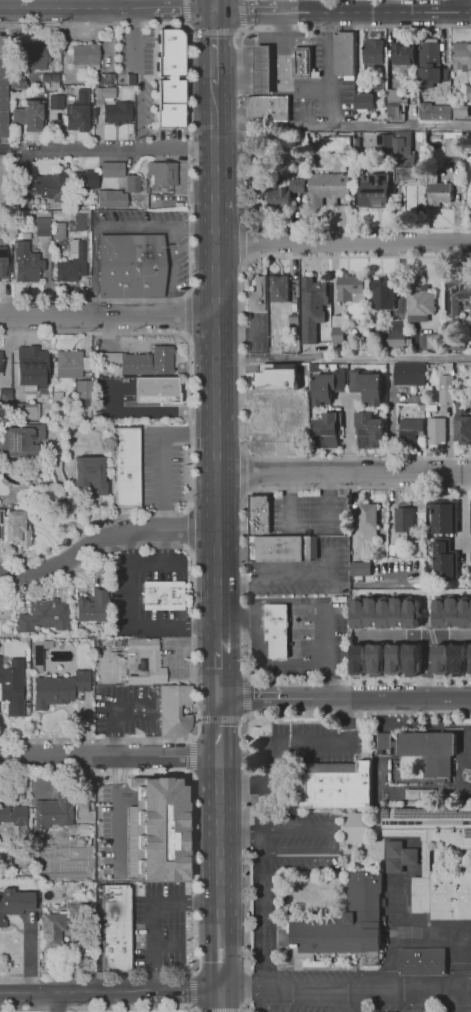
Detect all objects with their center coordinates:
road: (39, 4)
road: (106, 5)
road: (213, 5)
road: (306, 5)
road: (389, 6)
road: (106, 10)
road: (185, 11)
traffic signals: (213, 11)
road: (342, 11)
road: (242, 12)
road: (212, 30)
road: (134, 42)
road: (213, 47)
road: (247, 49)
building: (373, 51)
building: (170, 52)
building: (430, 53)
building: (341, 54)
building: (37, 57)
building: (85, 57)
building: (462, 57)
building: (403, 58)
building: (300, 62)
road: (327, 62)
road: (281, 69)
building: (259, 70)
gas station: (259, 70)
building: (107, 78)
building: (428, 78)
building: (16, 83)
road: (239, 83)
building: (469, 91)
building: (107, 92)
building: (2, 100)
building: (55, 100)
building: (365, 101)
building: (169, 102)
building: (393, 103)
building: (267, 106)
building: (111, 112)
road: (140, 113)
building: (433, 113)
building: (460, 113)
building: (17, 114)
building: (32, 114)
building: (78, 117)
road: (241, 119)
road: (342, 126)
building: (433, 135)
building: (336, 144)
building: (363, 145)
building: (384, 147)
building: (402, 148)
building: (452, 149)
road: (123, 152)
building: (112, 169)
building: (163, 173)
building: (417, 174)
building: (2, 176)
building: (83, 179)
park: (251, 179)
building: (135, 182)
building: (328, 184)
building: (22, 187)
building: (50, 187)
building: (374, 191)
building: (286, 193)
building: (433, 194)
building: (112, 199)
building: (82, 222)
building: (42, 225)
road: (242, 238)
road: (342, 244)
building: (77, 247)
road: (188, 251)
building: (27, 261)
building: (2, 263)
building: (131, 267)
building: (69, 270)
building: (278, 288)
building: (350, 288)
building: (460, 290)
building: (382, 293)
building: (257, 296)
building: (419, 299)
building: (312, 308)
road: (107, 314)
road: (187, 315)
building: (337, 329)
building: (396, 337)
building: (431, 341)
building: (457, 341)
road: (241, 355)
building: (107, 358)
road: (343, 359)
building: (149, 361)
building: (69, 363)
building: (1, 364)
building: (32, 365)
road: (215, 366)
building: (448, 366)
building: (410, 374)
building: (277, 379)
building: (368, 386)
building: (326, 387)
building: (83, 388)
building: (27, 389)
building: (445, 389)
building: (157, 390)
building: (5, 395)
building: (420, 399)
building: (26, 410)
road: (154, 411)
building: (463, 422)
building: (411, 424)
road: (189, 426)
building: (326, 431)
building: (371, 432)
building: (435, 432)
road: (346, 436)
building: (25, 440)
building: (126, 467)
road: (243, 471)
road: (343, 472)
building: (92, 473)
road: (64, 495)
road: (329, 501)
road: (460, 514)
building: (260, 515)
building: (443, 519)
building: (402, 520)
building: (367, 521)
building: (0, 528)
building: (18, 528)
road: (189, 528)
road: (104, 539)
building: (283, 550)
building: (444, 561)
road: (160, 563)
building: (470, 566)
building: (360, 569)
road: (280, 576)
road: (244, 585)
building: (163, 595)
building: (468, 596)
road: (310, 601)
building: (90, 607)
building: (384, 612)
building: (452, 612)
building: (44, 614)
building: (416, 615)
road: (127, 624)
building: (276, 630)
building: (469, 635)
road: (192, 640)
building: (413, 655)
building: (470, 657)
building: (394, 659)
building: (440, 659)
road: (176, 660)
building: (375, 660)
building: (133, 661)
building: (361, 661)
building: (451, 662)
road: (218, 672)
building: (60, 687)
building: (13, 689)
road: (244, 695)
traffic signals: (219, 696)
road: (344, 697)
road: (112, 704)
building: (175, 710)
road: (358, 713)
road: (218, 718)
road: (149, 722)
road: (218, 725)
building: (385, 741)
road: (286, 744)
park: (464, 746)
building: (429, 750)
road: (189, 754)
road: (109, 755)
road: (94, 773)
building: (333, 785)
road: (115, 808)
building: (18, 818)
building: (50, 820)
building: (432, 824)
road: (219, 827)
building: (356, 828)
building: (161, 829)
road: (240, 831)
building: (80, 840)
road: (333, 842)
building: (400, 855)
road: (244, 861)
road: (192, 873)
building: (443, 893)
building: (14, 904)
road: (263, 911)
road: (150, 914)
building: (344, 924)
building: (52, 927)
building: (121, 932)
park: (428, 934)
road: (210, 947)
road: (230, 947)
building: (422, 962)
road: (96, 975)
road: (455, 977)
road: (192, 990)
traffic signals: (221, 992)
road: (336, 992)
road: (182, 993)
road: (71, 994)
road: (221, 1001)
road: (451, 1001)
road: (261, 1002)
road: (55, 1003)
road: (96, 1007)
road: (191, 1007)
road: (44, 1010)
road: (222, 1011)

